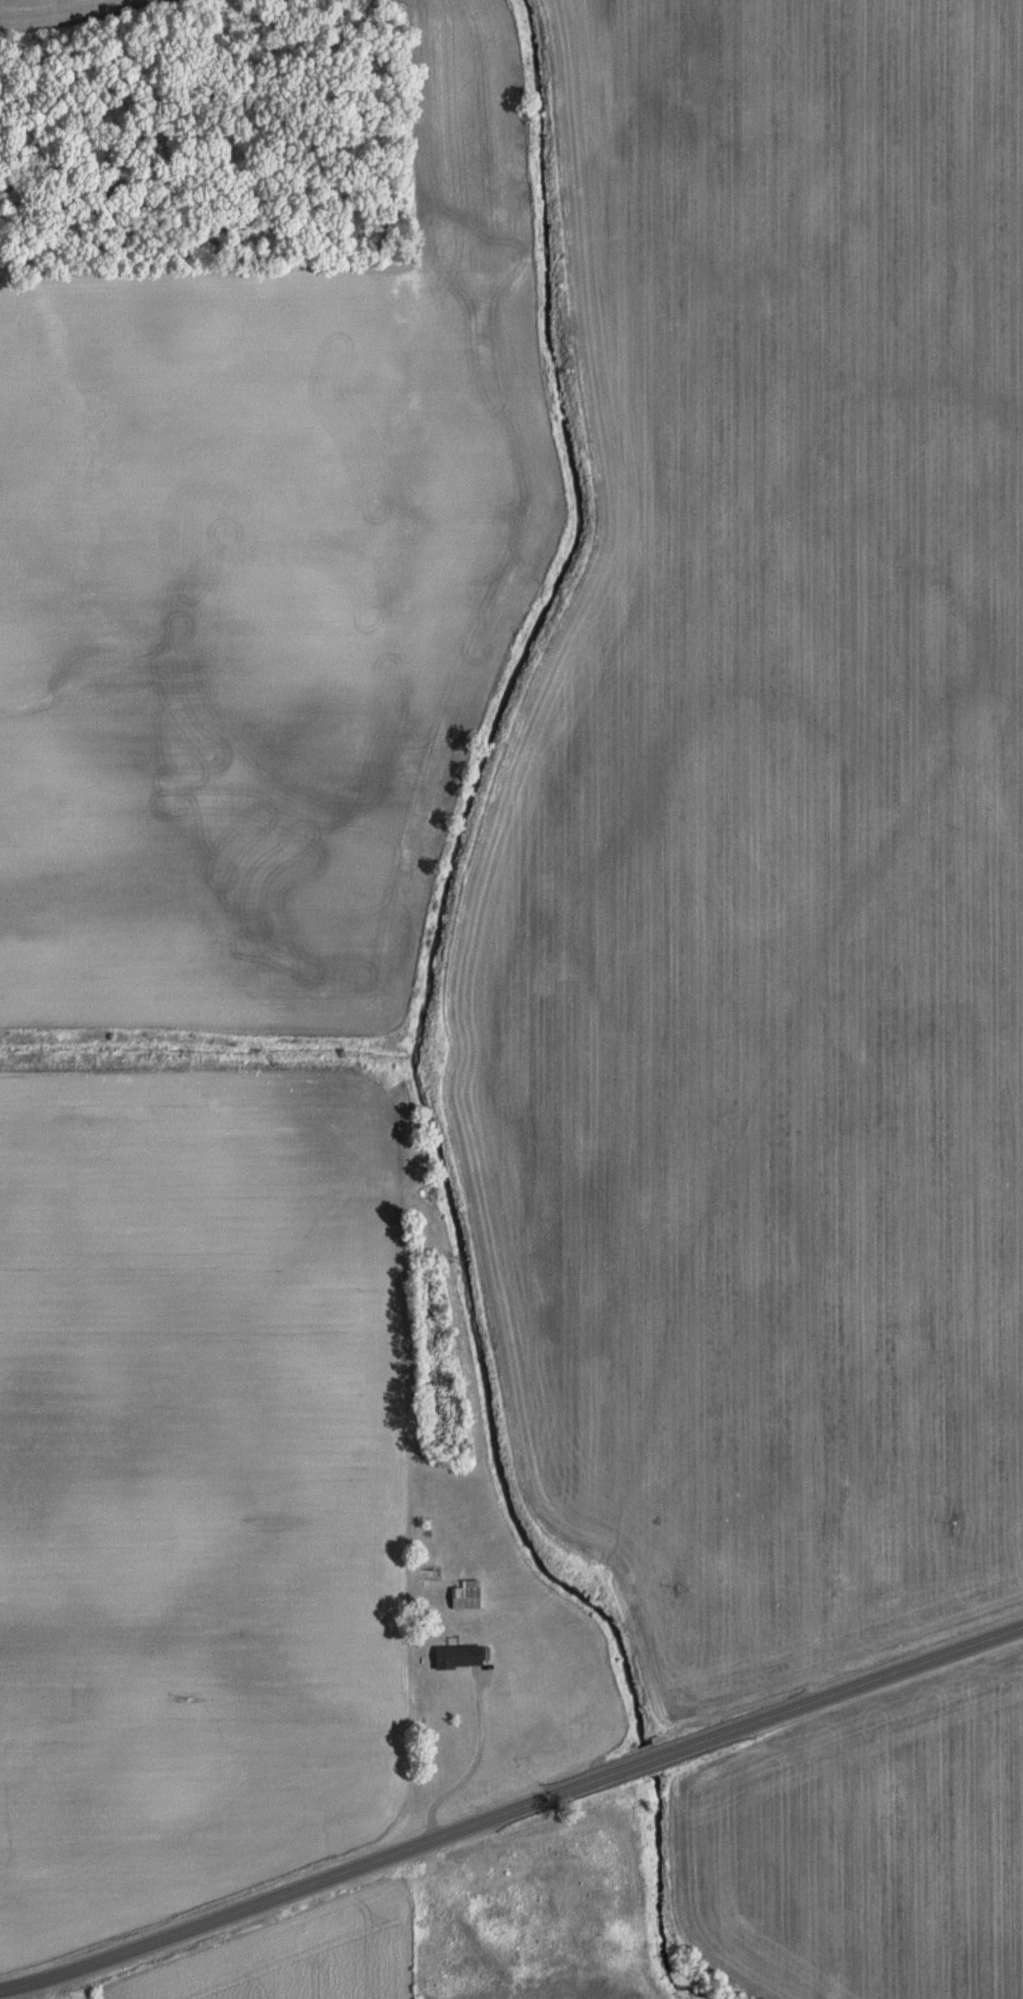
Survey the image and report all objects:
building: (457, 1654)
road: (511, 1814)
crop: (865, 1853)
crop: (339, 1968)

